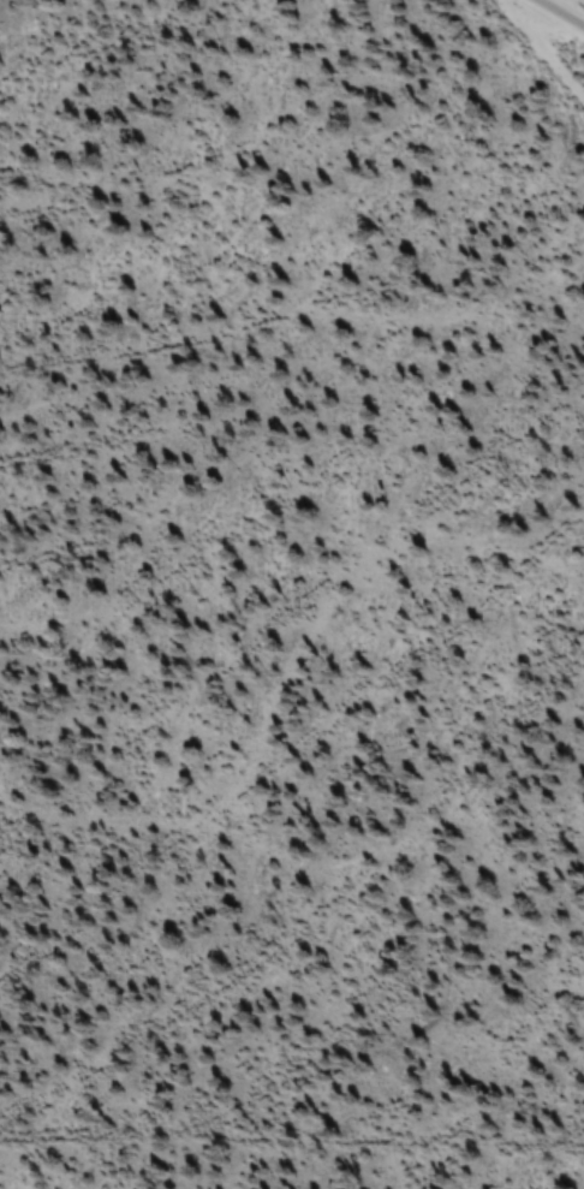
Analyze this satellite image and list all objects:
road: (566, 10)
road: (556, 50)

